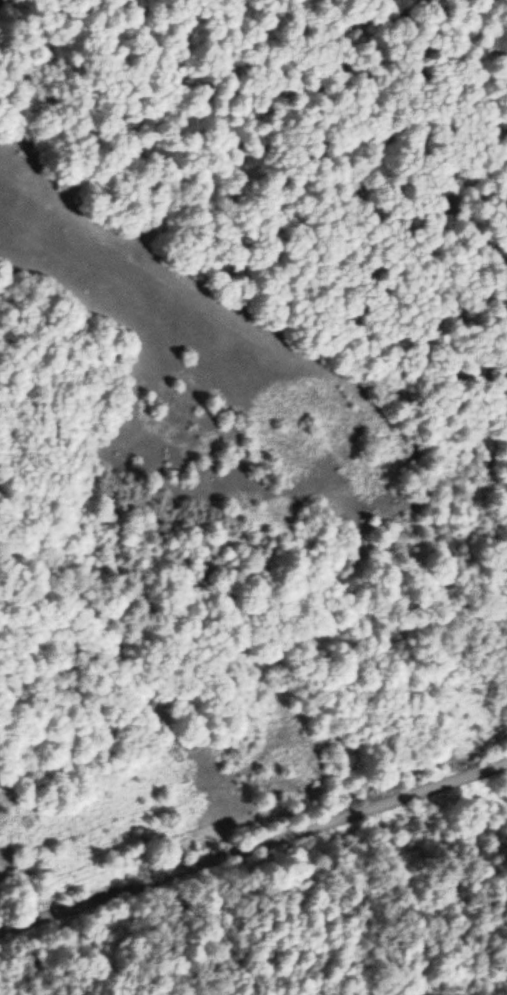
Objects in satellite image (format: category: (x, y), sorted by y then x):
road: (253, 850)

